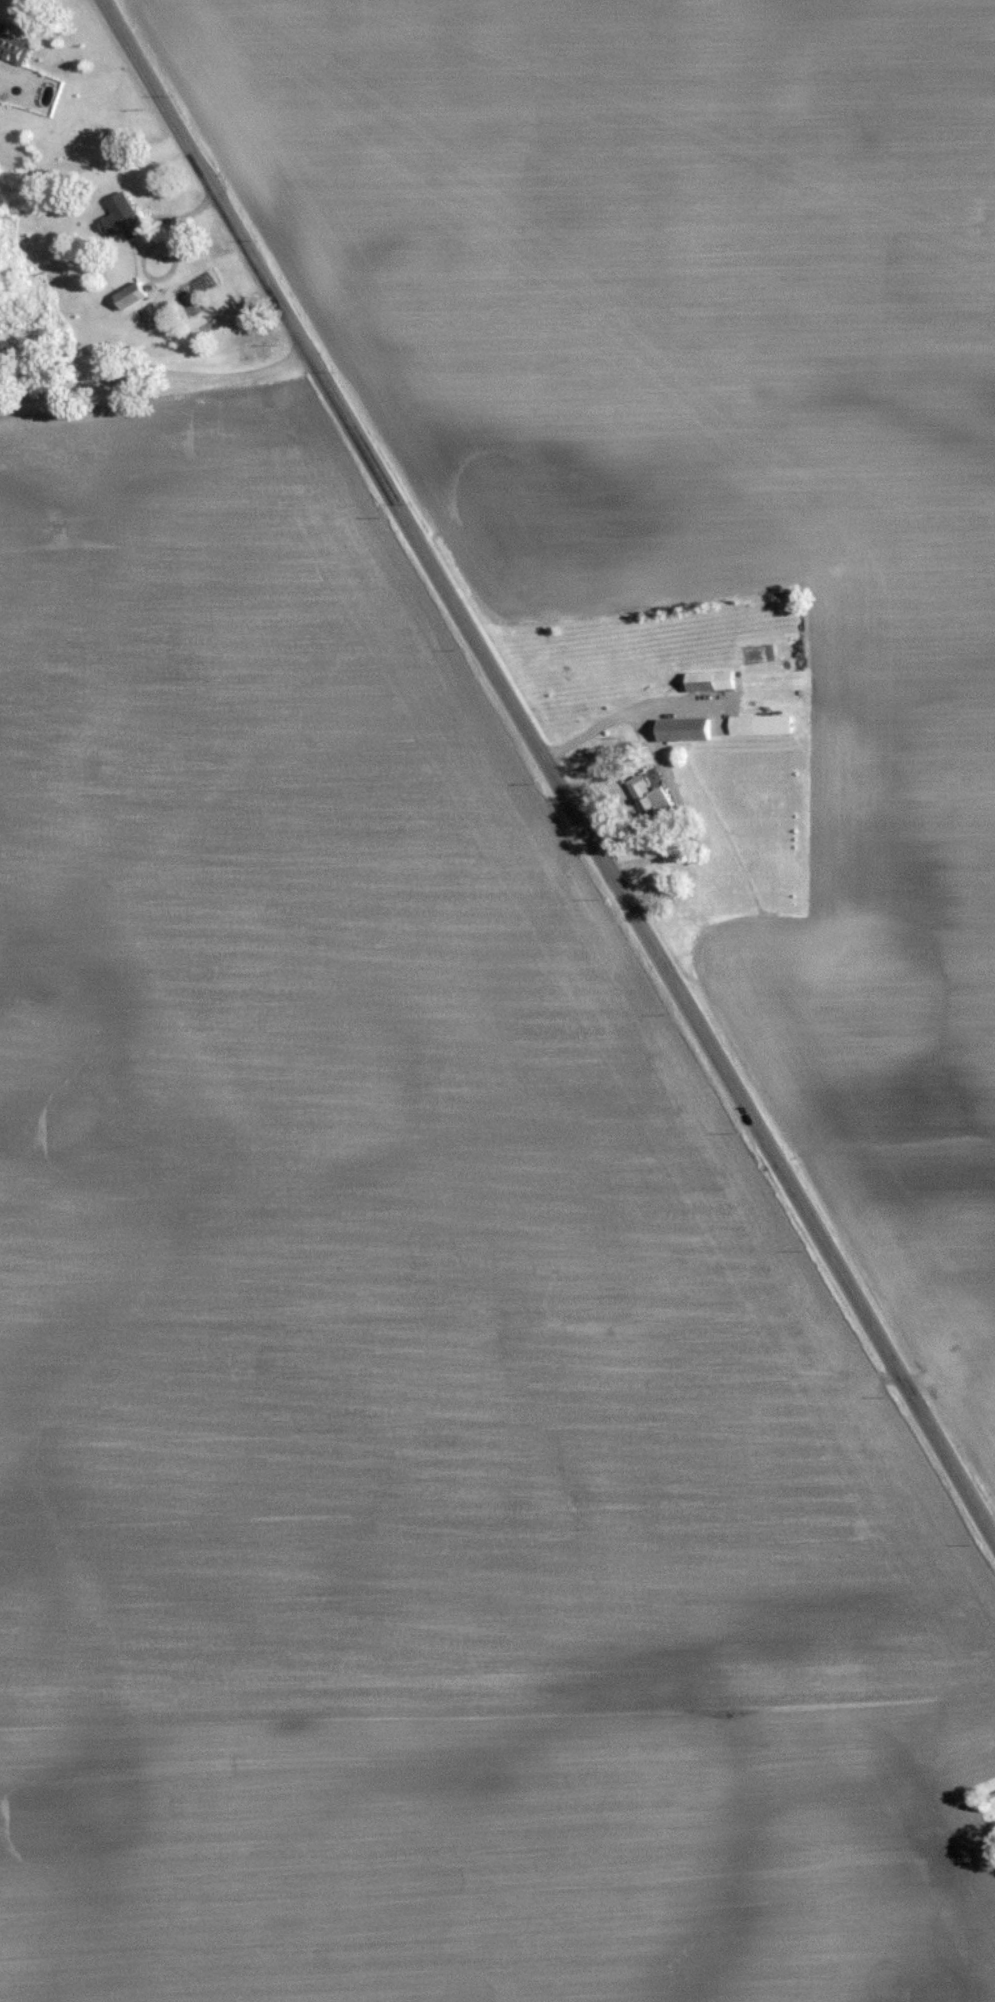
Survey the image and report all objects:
building: (15, 48)
building: (128, 216)
building: (134, 296)
building: (150, 313)
road: (153, 373)
building: (712, 681)
road: (623, 708)
building: (761, 725)
building: (686, 730)
road: (548, 772)
road: (680, 807)

